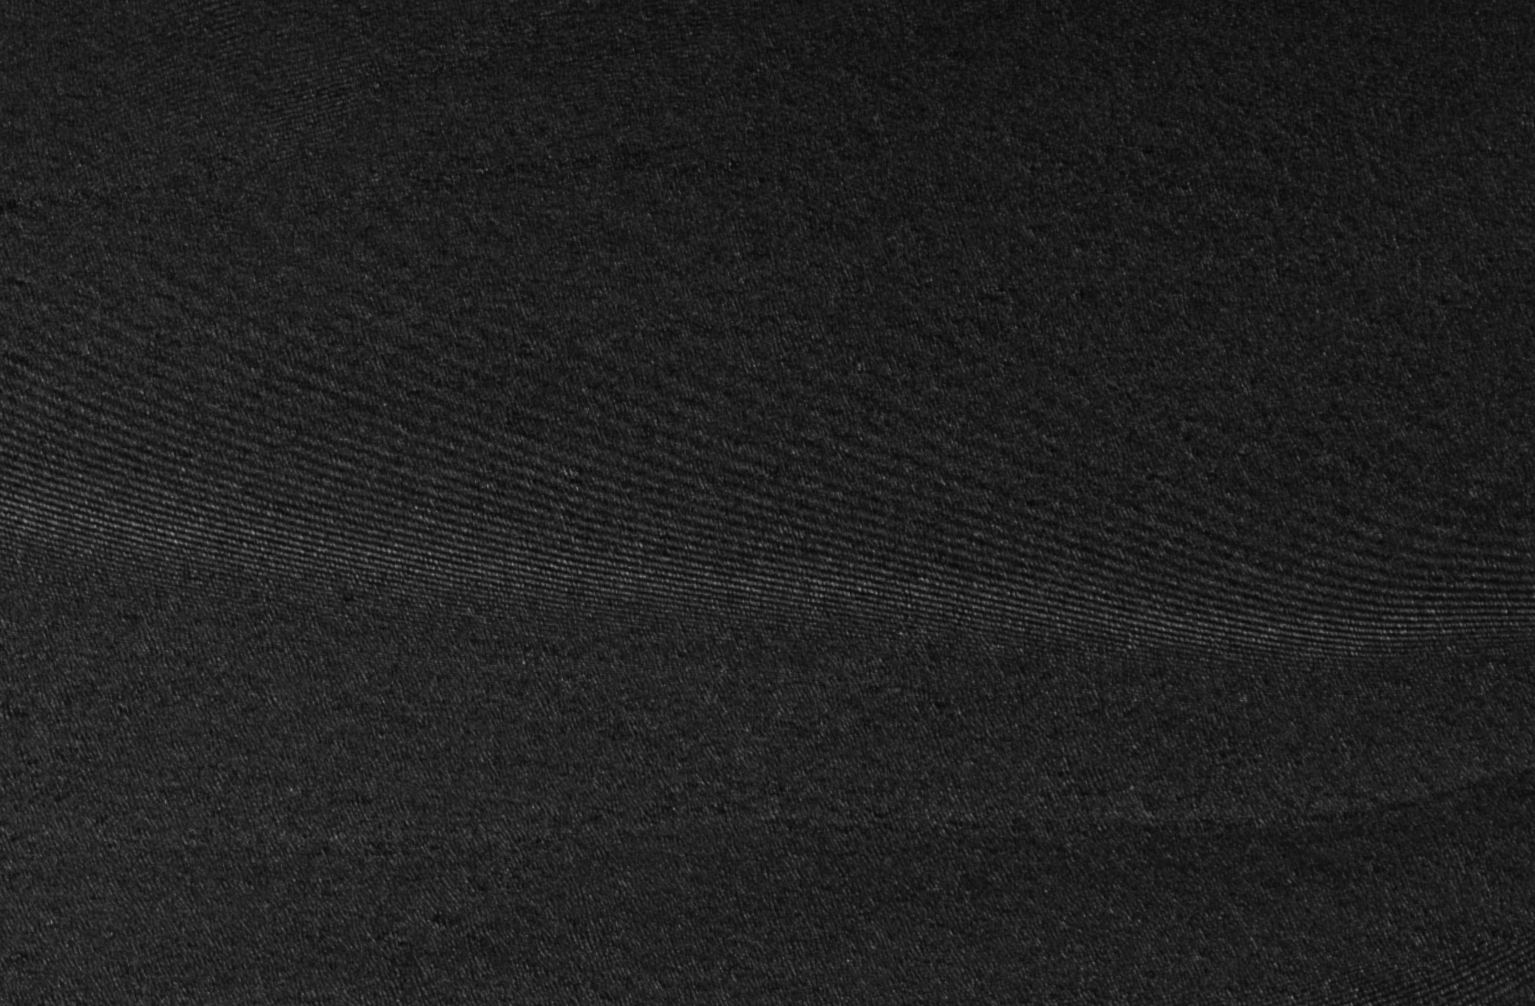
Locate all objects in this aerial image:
river: (768, 298)

